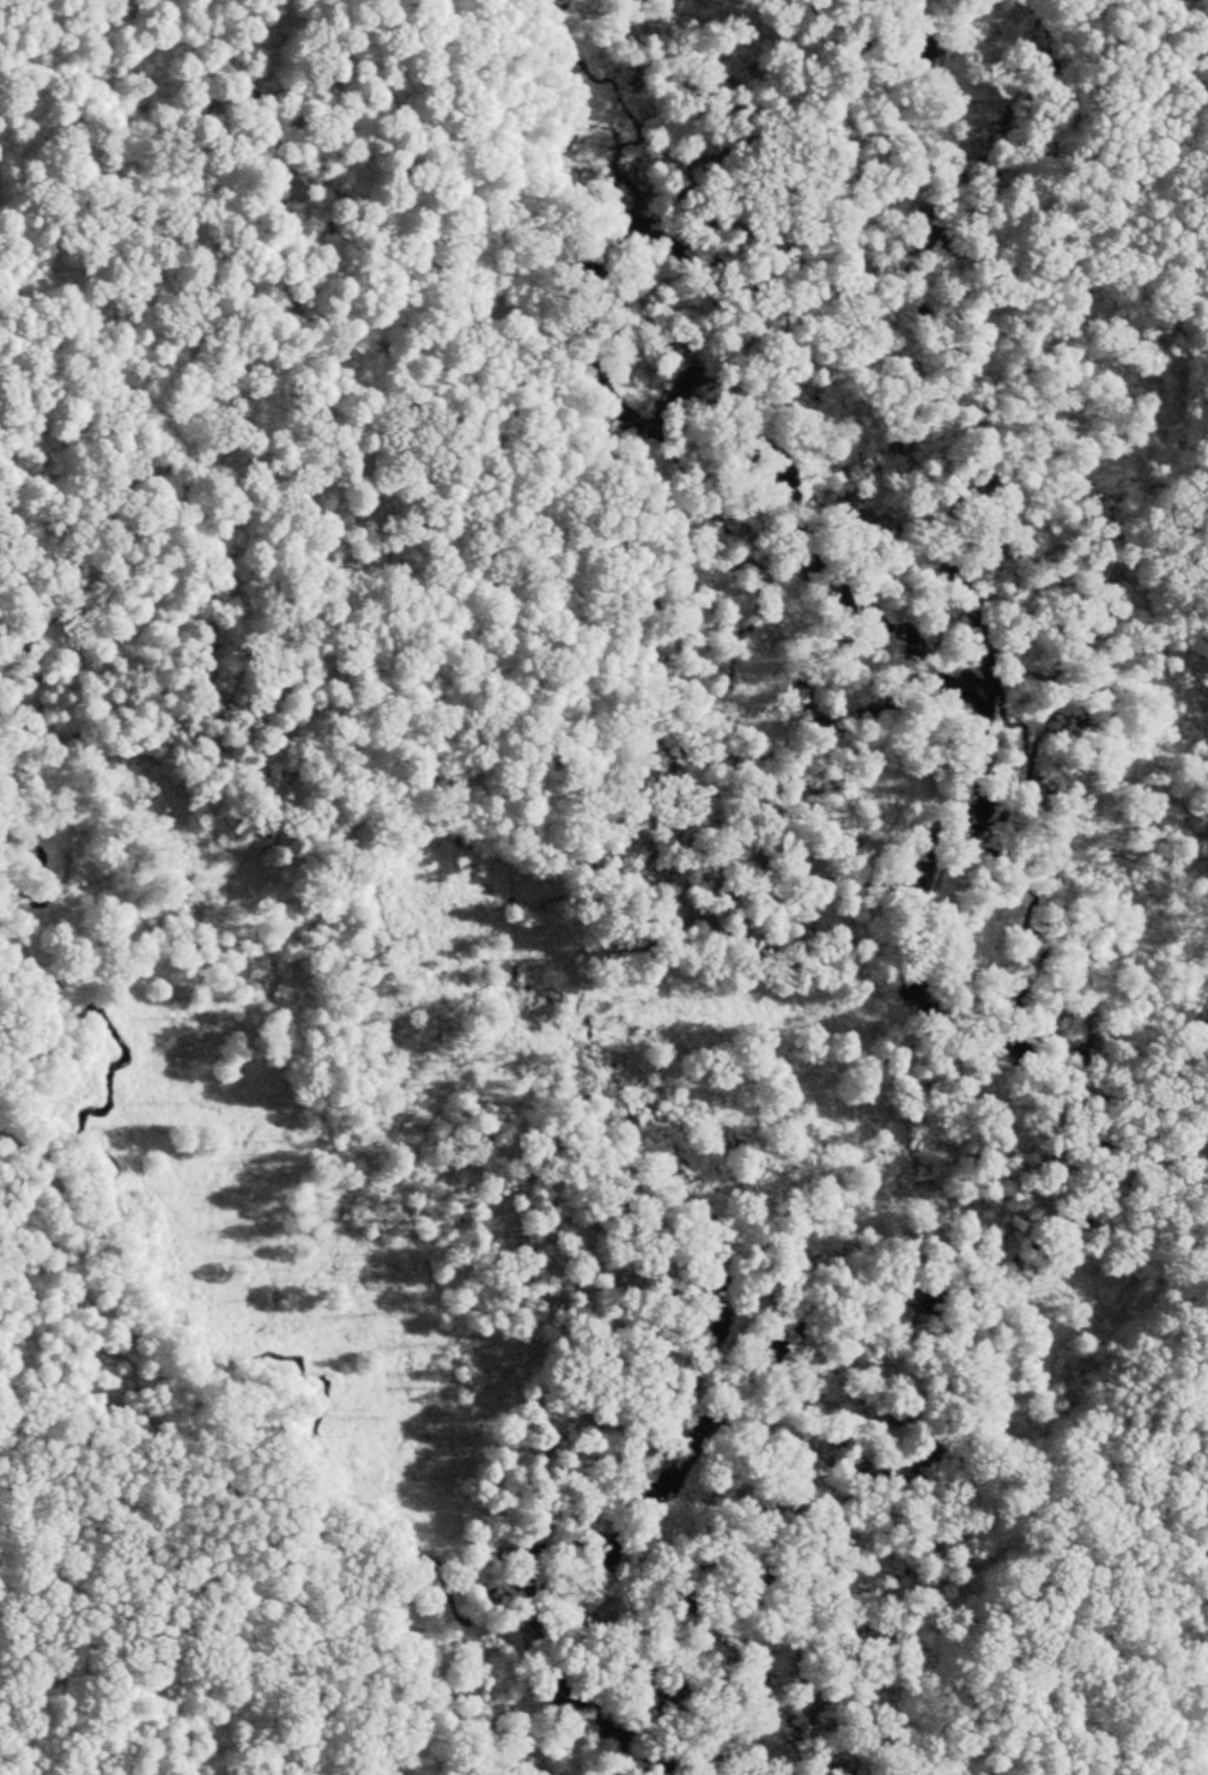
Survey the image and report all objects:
road: (1118, 238)
road: (1195, 1201)
road: (1124, 1603)

